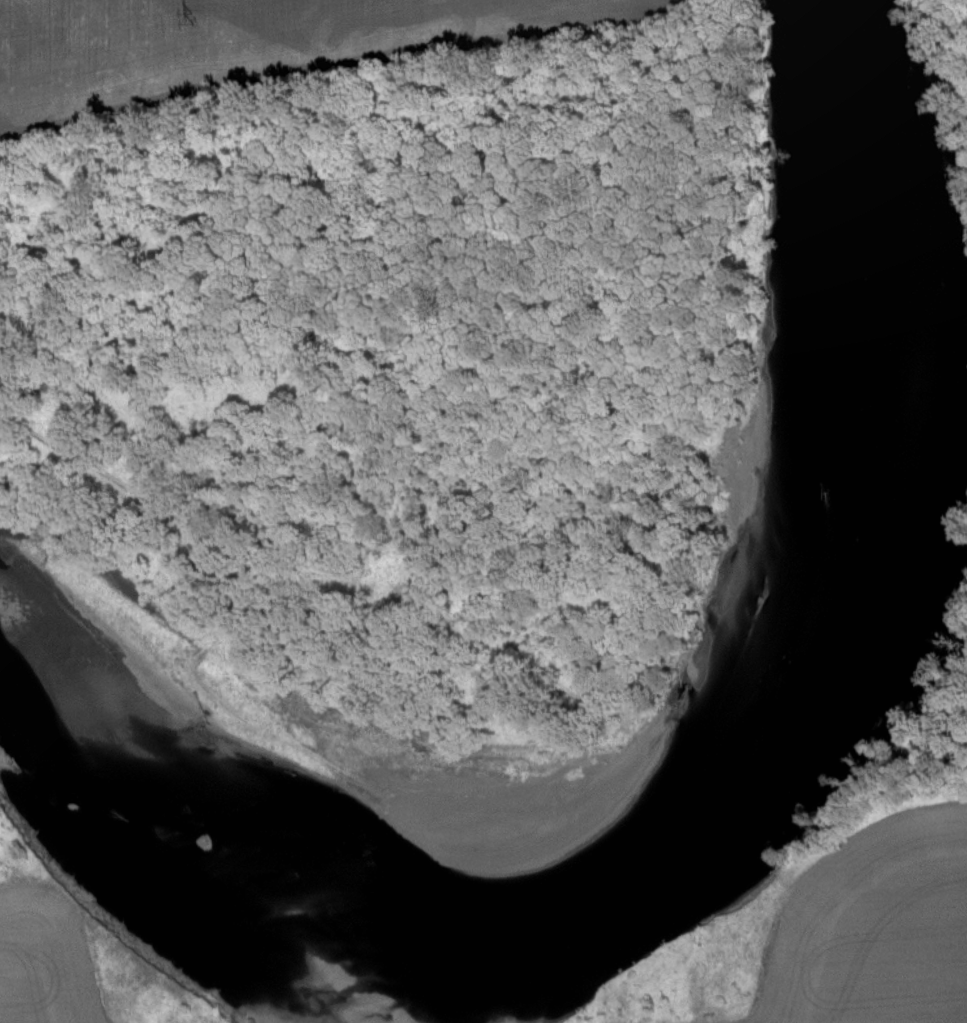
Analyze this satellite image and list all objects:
river: (790, 768)

